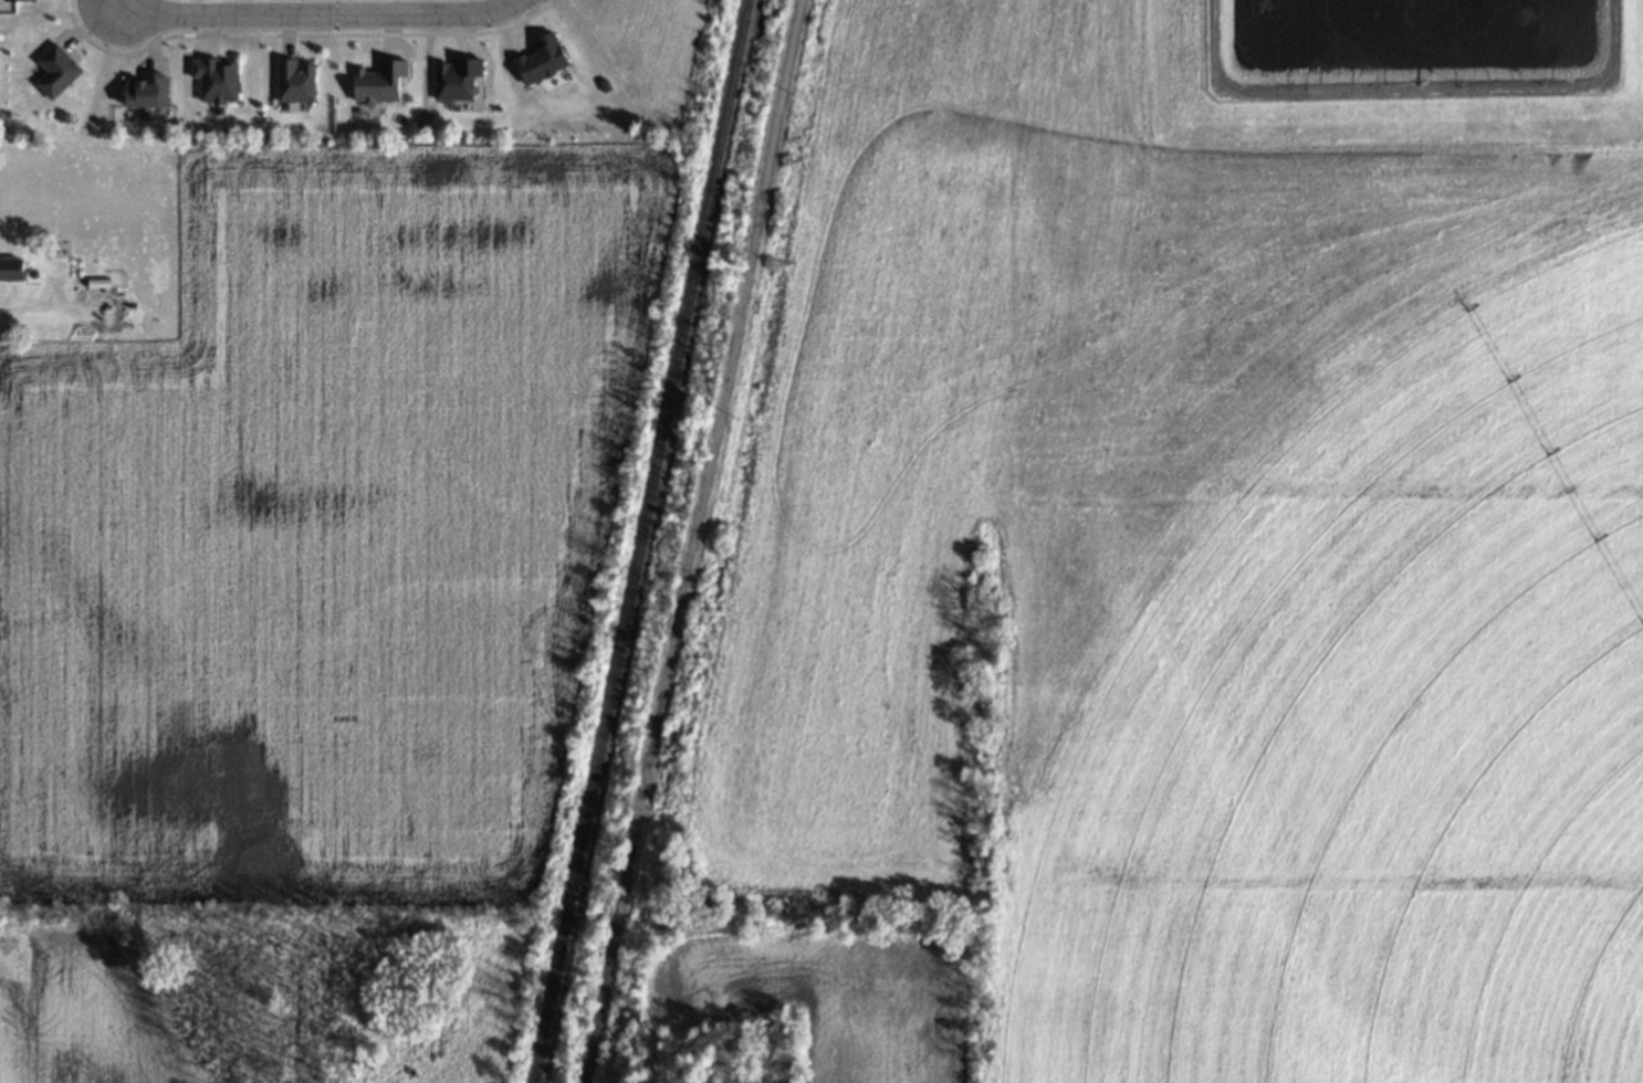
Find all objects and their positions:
road: (318, 13)
building: (294, 80)
building: (379, 82)
building: (12, 269)
railway: (640, 541)
road: (690, 541)

